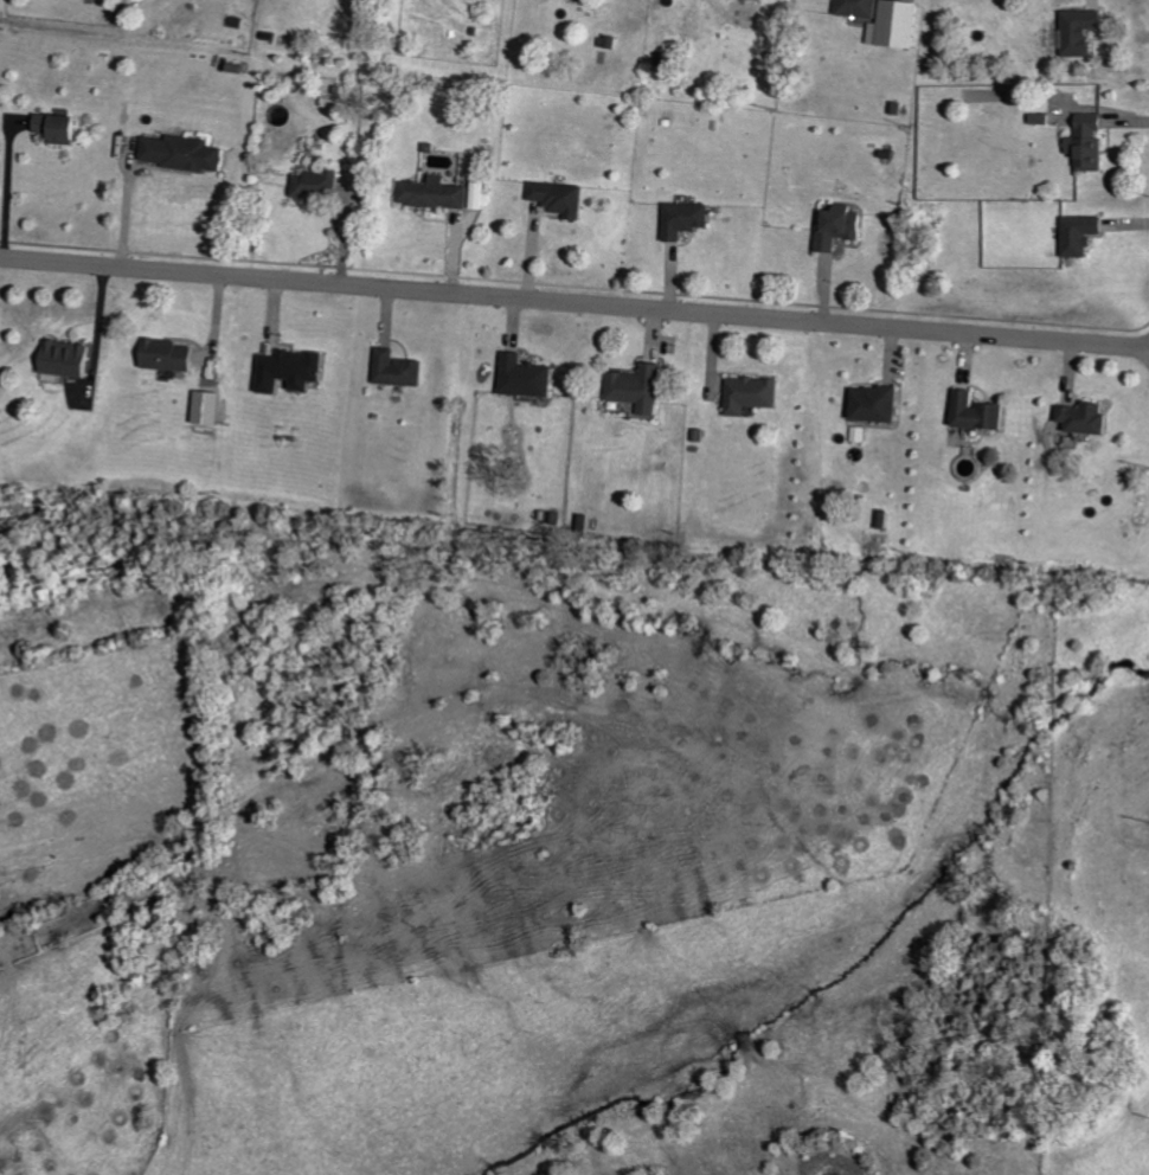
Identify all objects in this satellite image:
building: (862, 8)
building: (900, 26)
building: (1085, 32)
building: (66, 127)
building: (1093, 142)
building: (192, 153)
building: (321, 185)
road: (8, 192)
building: (448, 193)
building: (565, 198)
building: (688, 219)
building: (847, 227)
building: (1086, 236)
road: (574, 302)
building: (171, 355)
building: (72, 358)
building: (400, 368)
building: (295, 370)
building: (529, 375)
building: (643, 387)
building: (755, 394)
building: (881, 404)
building: (984, 412)
building: (1091, 418)

